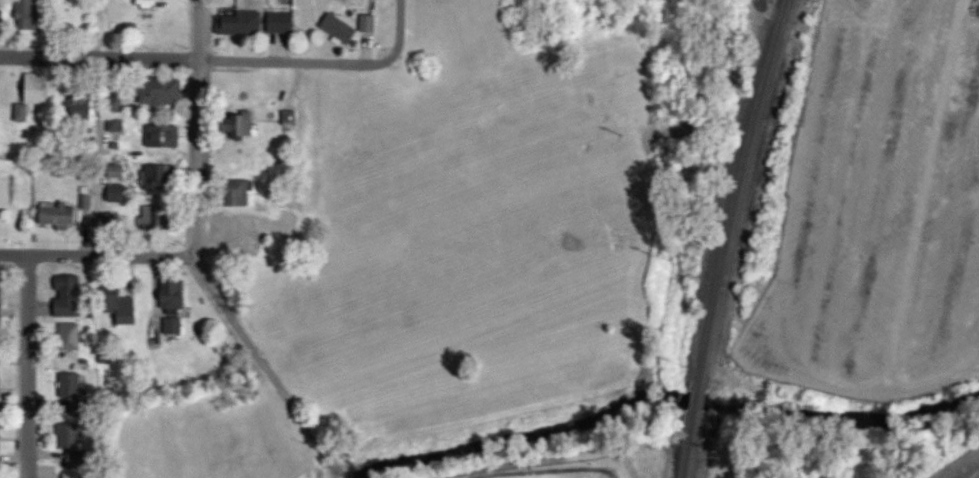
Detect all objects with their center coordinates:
building: (32, 16)
building: (2, 19)
building: (282, 21)
building: (240, 22)
building: (371, 22)
building: (341, 27)
road: (403, 29)
road: (198, 60)
building: (163, 90)
building: (32, 99)
building: (116, 104)
building: (83, 105)
building: (290, 117)
building: (243, 124)
road: (95, 125)
building: (115, 125)
road: (197, 127)
building: (164, 135)
building: (161, 177)
building: (119, 192)
building: (240, 192)
building: (59, 214)
building: (154, 218)
building: (239, 229)
railway: (723, 237)
road: (94, 254)
building: (1, 297)
building: (70, 298)
building: (175, 306)
building: (124, 308)
building: (72, 335)
road: (266, 365)
road: (30, 366)
building: (1, 384)
building: (72, 389)
building: (0, 435)
building: (76, 443)
building: (74, 475)

